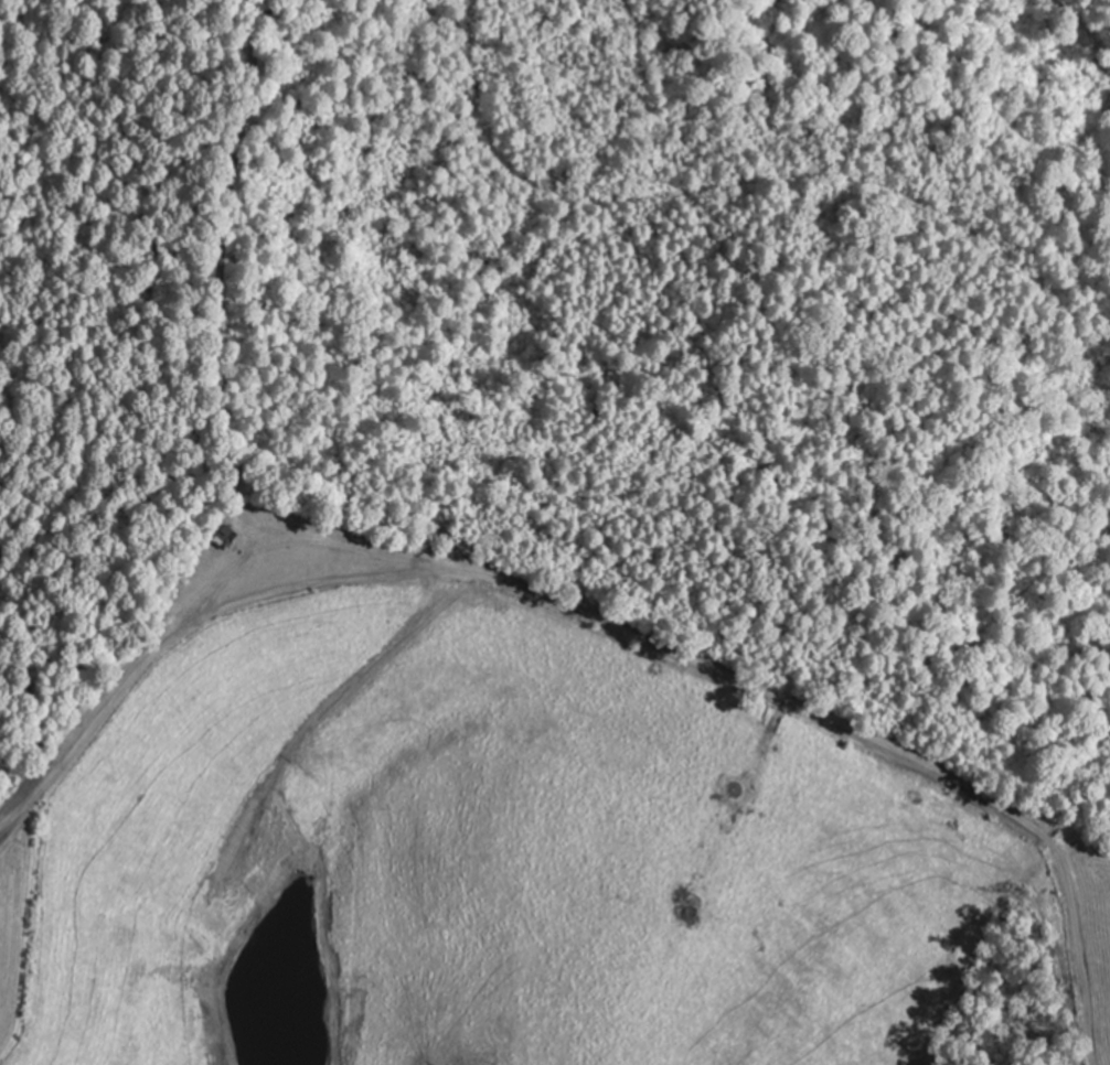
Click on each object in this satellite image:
building: (225, 535)

